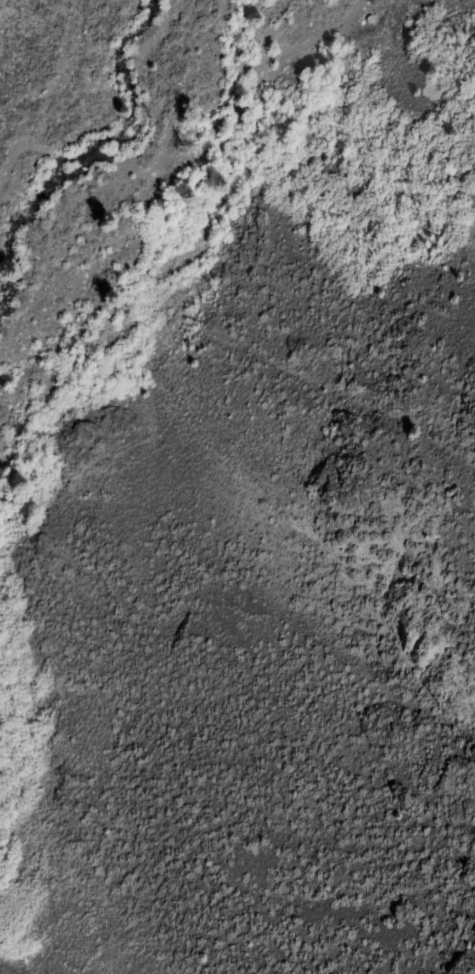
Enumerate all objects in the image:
building: (366, 18)
storage tank: (366, 18)
road: (233, 83)
road: (11, 156)

